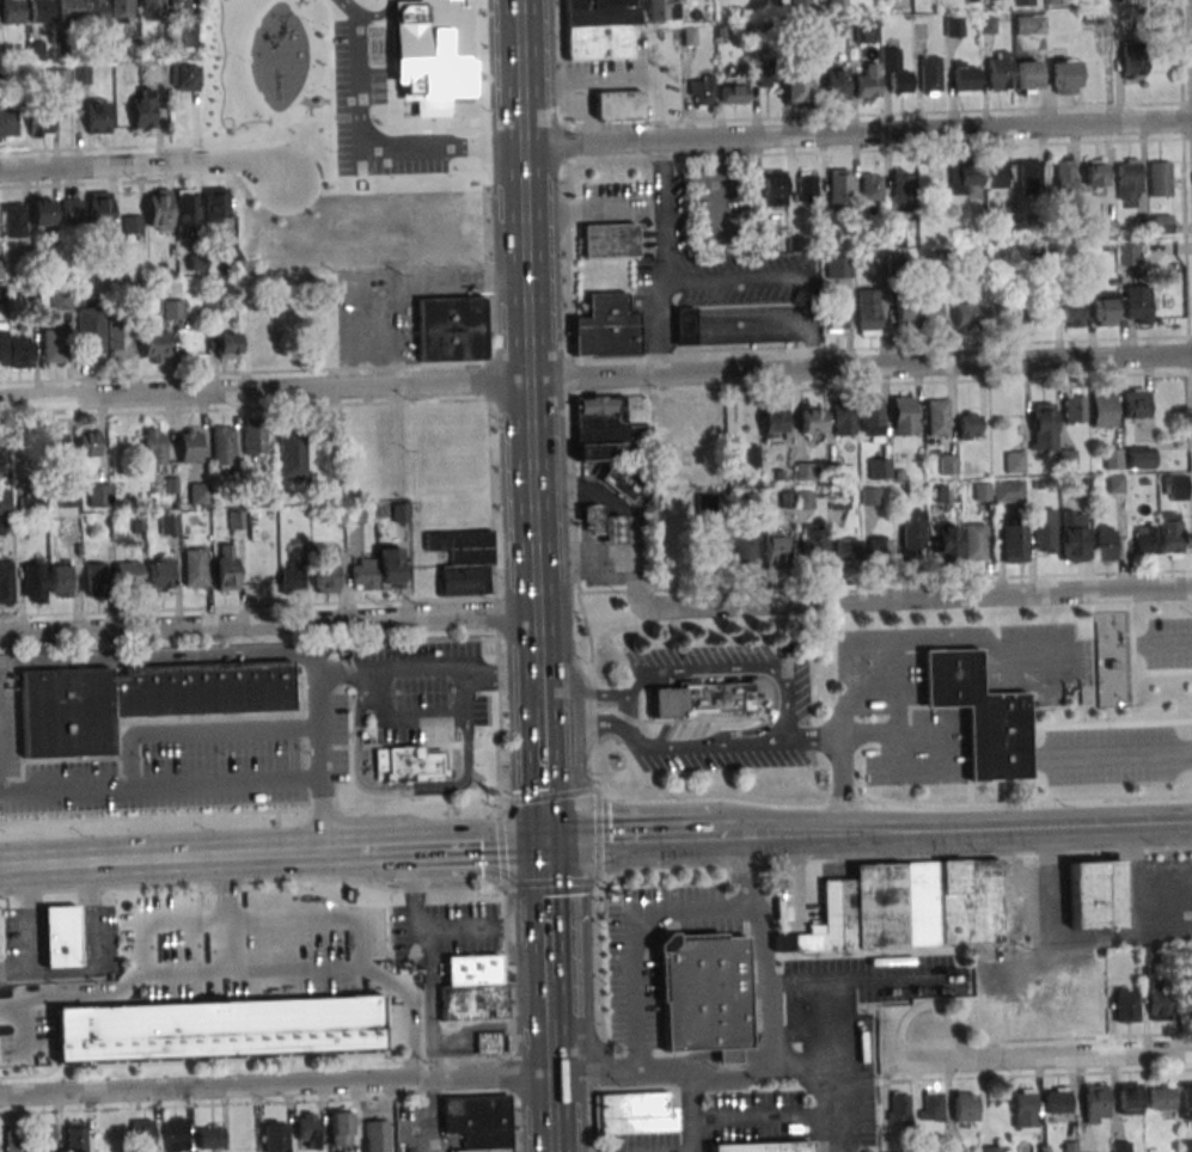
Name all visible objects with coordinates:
building: (1000, 1)
building: (801, 4)
building: (837, 6)
building: (181, 8)
building: (122, 10)
building: (152, 10)
building: (664, 10)
building: (39, 11)
building: (69, 11)
building: (94, 11)
building: (11, 12)
road: (391, 19)
building: (1167, 19)
building: (1029, 25)
building: (954, 26)
building: (600, 27)
building: (823, 30)
building: (868, 31)
building: (35, 49)
building: (1132, 63)
building: (998, 71)
building: (894, 72)
building: (80, 74)
road: (520, 74)
building: (766, 74)
building: (930, 74)
building: (1065, 75)
building: (57, 76)
building: (185, 76)
building: (965, 76)
building: (1027, 76)
building: (836, 82)
building: (867, 82)
building: (795, 86)
building: (701, 90)
building: (734, 94)
building: (618, 104)
building: (142, 111)
building: (97, 117)
building: (8, 124)
building: (39, 125)
road: (857, 134)
road: (366, 146)
road: (142, 164)
building: (1095, 172)
building: (995, 173)
building: (1064, 176)
building: (962, 177)
building: (1029, 177)
building: (1160, 178)
building: (1129, 179)
building: (838, 186)
building: (872, 186)
building: (772, 188)
building: (806, 188)
building: (900, 190)
building: (215, 201)
building: (185, 208)
building: (158, 209)
building: (72, 210)
building: (41, 212)
building: (99, 214)
building: (13, 219)
building: (130, 223)
building: (1161, 223)
building: (895, 234)
building: (610, 240)
building: (1126, 253)
road: (665, 257)
building: (836, 264)
building: (0, 268)
road: (739, 280)
building: (60, 299)
building: (1137, 304)
building: (163, 307)
building: (917, 310)
building: (1104, 310)
building: (868, 312)
building: (966, 312)
building: (1071, 313)
building: (835, 314)
building: (1000, 314)
building: (728, 324)
building: (607, 327)
building: (452, 329)
building: (90, 331)
building: (117, 339)
building: (2, 344)
building: (54, 345)
building: (226, 345)
building: (154, 347)
building: (20, 351)
road: (595, 376)
road: (531, 381)
building: (1135, 403)
building: (1074, 405)
building: (1102, 409)
building: (901, 415)
building: (937, 417)
building: (811, 419)
building: (870, 419)
building: (843, 422)
building: (772, 424)
building: (970, 425)
building: (1043, 427)
building: (607, 429)
building: (253, 439)
building: (88, 442)
building: (189, 445)
building: (56, 446)
building: (153, 446)
building: (222, 447)
building: (292, 456)
building: (1112, 458)
building: (1138, 458)
building: (750, 459)
building: (1066, 459)
building: (1014, 461)
building: (947, 464)
building: (879, 467)
building: (803, 471)
building: (622, 480)
building: (1175, 488)
building: (1008, 491)
building: (198, 494)
building: (937, 494)
building: (67, 496)
building: (99, 496)
building: (869, 496)
building: (837, 498)
building: (796, 500)
building: (4, 501)
building: (30, 503)
building: (234, 519)
building: (592, 519)
building: (167, 523)
building: (912, 529)
building: (613, 531)
building: (1043, 531)
building: (1170, 534)
building: (1071, 535)
building: (1145, 539)
building: (973, 541)
building: (1014, 541)
building: (1105, 541)
building: (814, 544)
building: (946, 544)
building: (744, 545)
building: (714, 547)
building: (776, 549)
building: (846, 549)
building: (881, 549)
building: (464, 562)
building: (194, 566)
building: (225, 566)
building: (362, 568)
building: (325, 569)
building: (96, 577)
building: (127, 577)
building: (292, 577)
building: (60, 578)
building: (5, 581)
building: (32, 581)
road: (919, 596)
road: (268, 625)
road: (909, 638)
road: (1170, 642)
road: (1, 664)
road: (2, 664)
road: (664, 672)
building: (140, 700)
building: (701, 701)
road: (624, 709)
road: (789, 712)
building: (980, 713)
road: (544, 727)
road: (585, 727)
road: (204, 737)
road: (892, 737)
road: (811, 740)
road: (695, 746)
road: (1119, 753)
building: (406, 762)
road: (838, 785)
road: (412, 791)
road: (1, 796)
road: (560, 798)
road: (900, 805)
road: (255, 813)
road: (322, 815)
road: (1015, 826)
road: (778, 832)
road: (632, 835)
traffic signals: (549, 839)
road: (478, 842)
road: (403, 847)
road: (377, 848)
road: (342, 851)
road: (301, 853)
road: (139, 860)
road: (412, 889)
building: (1095, 894)
building: (968, 901)
road: (549, 902)
building: (918, 902)
building: (875, 905)
road: (224, 913)
road: (90, 918)
road: (252, 918)
building: (831, 919)
road: (31, 920)
road: (482, 927)
building: (60, 936)
road: (630, 939)
road: (365, 940)
road: (142, 948)
road: (216, 972)
road: (45, 973)
road: (858, 980)
building: (472, 985)
road: (550, 992)
building: (704, 994)
road: (24, 1003)
building: (1186, 1003)
road: (435, 1005)
building: (1125, 1005)
building: (1160, 1005)
road: (12, 1011)
building: (336, 1022)
building: (277, 1024)
building: (215, 1028)
building: (149, 1030)
building: (91, 1032)
road: (25, 1034)
road: (411, 1036)
building: (490, 1042)
road: (817, 1046)
road: (766, 1048)
road: (1059, 1054)
road: (276, 1085)
road: (552, 1085)
building: (1161, 1097)
building: (1129, 1098)
building: (1057, 1099)
building: (1186, 1101)
building: (1095, 1103)
building: (930, 1105)
building: (964, 1107)
building: (899, 1108)
building: (1023, 1109)
building: (635, 1113)
road: (695, 1114)
road: (432, 1116)
road: (787, 1120)
building: (478, 1121)
building: (341, 1128)
building: (307, 1130)
building: (74, 1135)
building: (142, 1135)
building: (176, 1135)
road: (820, 1135)
building: (210, 1136)
building: (276, 1136)
building: (374, 1136)
building: (44, 1138)
building: (16, 1139)
building: (1120, 1146)
building: (1185, 1146)
building: (763, 1147)
building: (955, 1148)
building: (991, 1148)

